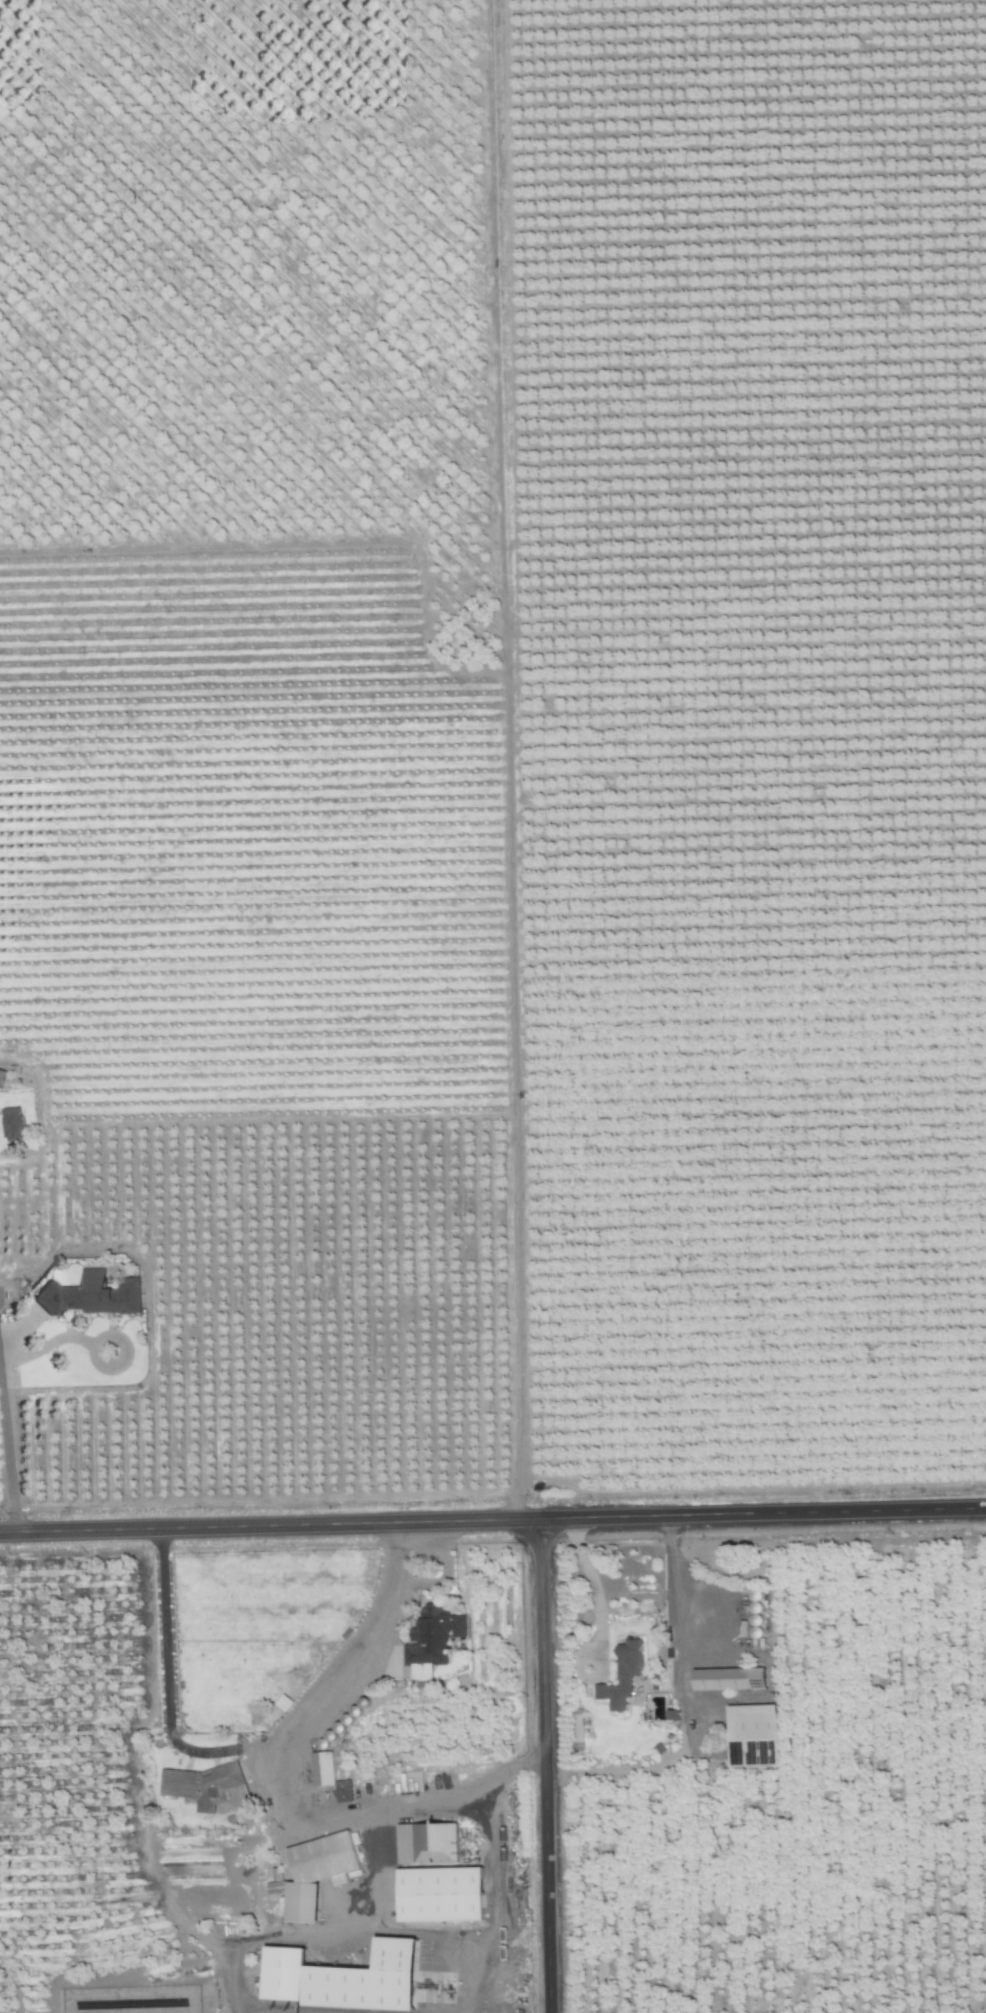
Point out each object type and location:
building: (2, 1076)
building: (15, 1123)
building: (93, 1294)
road: (118, 1336)
road: (47, 1343)
road: (5, 1428)
road: (493, 1526)
road: (668, 1558)
road: (391, 1560)
road: (435, 1576)
road: (595, 1596)
building: (433, 1638)
building: (624, 1674)
building: (731, 1678)
building: (676, 1714)
building: (753, 1734)
road: (685, 1741)
road: (212, 1751)
road: (548, 1769)
road: (493, 1773)
building: (330, 1775)
building: (207, 1785)
road: (322, 1820)
building: (428, 1842)
building: (319, 1871)
building: (276, 1886)
building: (444, 1893)
road: (505, 1896)
building: (349, 1977)

